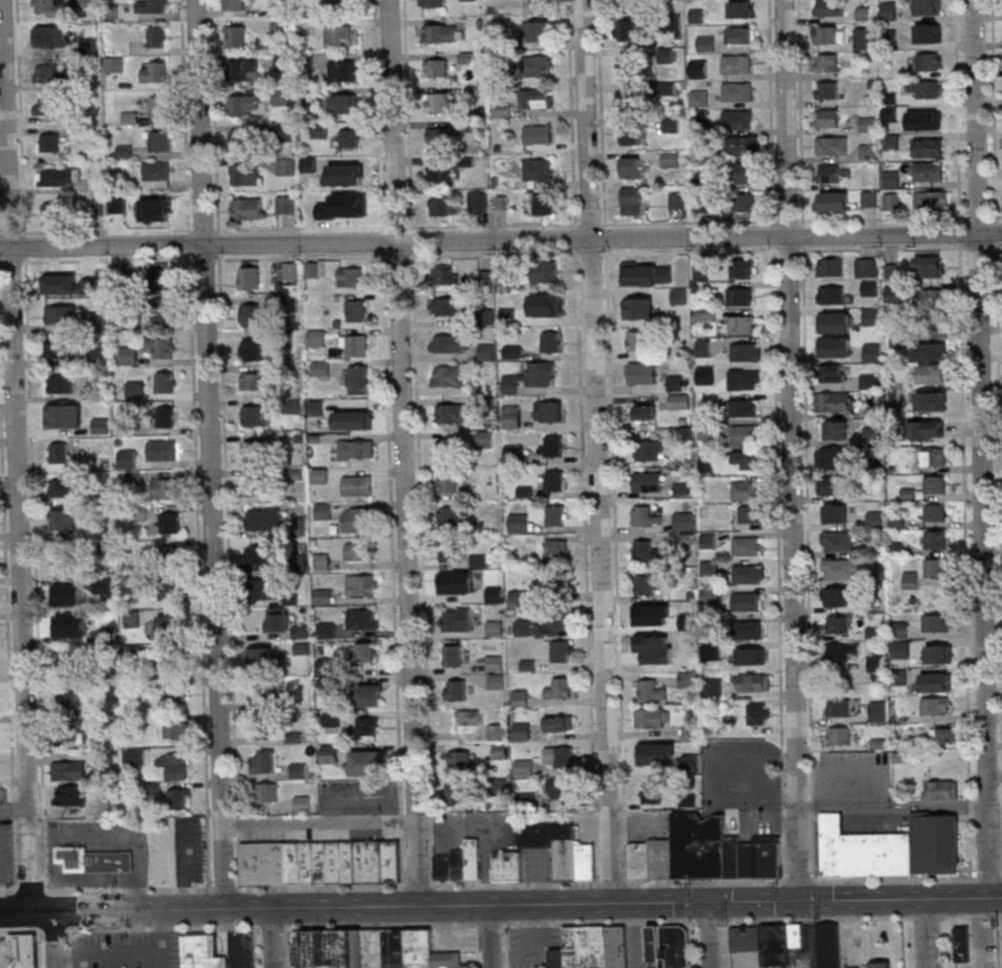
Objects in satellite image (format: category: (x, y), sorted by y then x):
building: (625, 2)
building: (87, 3)
building: (432, 3)
building: (538, 3)
building: (236, 5)
building: (152, 6)
building: (49, 7)
building: (927, 7)
building: (741, 8)
building: (829, 8)
building: (890, 10)
building: (863, 13)
building: (627, 30)
building: (537, 31)
building: (440, 32)
building: (927, 33)
building: (741, 34)
building: (826, 34)
building: (157, 36)
building: (235, 36)
building: (343, 36)
building: (889, 36)
building: (858, 41)
building: (706, 42)
building: (929, 61)
building: (827, 62)
building: (114, 64)
building: (737, 64)
building: (627, 65)
building: (540, 66)
building: (435, 67)
building: (240, 70)
building: (154, 71)
building: (344, 72)
building: (52, 74)
building: (827, 89)
building: (922, 89)
building: (737, 91)
building: (283, 97)
building: (537, 98)
building: (699, 98)
building: (629, 99)
building: (441, 102)
building: (242, 104)
building: (344, 104)
building: (49, 105)
building: (159, 106)
road: (993, 110)
road: (378, 112)
road: (958, 112)
road: (407, 113)
building: (892, 114)
road: (184, 115)
road: (214, 115)
road: (21, 117)
building: (828, 117)
building: (738, 118)
building: (867, 123)
building: (319, 130)
building: (538, 134)
building: (630, 134)
building: (438, 136)
building: (351, 138)
building: (161, 140)
building: (244, 140)
building: (890, 141)
building: (51, 142)
building: (744, 145)
building: (832, 145)
building: (928, 147)
building: (868, 151)
road: (801, 157)
building: (670, 159)
building: (286, 166)
building: (631, 168)
building: (538, 170)
road: (772, 170)
building: (439, 171)
building: (928, 171)
building: (352, 173)
building: (745, 173)
building: (828, 173)
building: (157, 174)
building: (246, 175)
building: (58, 176)
building: (891, 178)
building: (631, 198)
building: (869, 198)
building: (478, 200)
building: (678, 200)
building: (931, 200)
building: (834, 201)
building: (891, 201)
building: (744, 202)
building: (285, 204)
building: (543, 205)
building: (442, 206)
building: (248, 208)
building: (349, 208)
building: (160, 209)
building: (57, 211)
road: (995, 216)
road: (977, 217)
road: (882, 218)
road: (787, 221)
road: (688, 222)
road: (398, 229)
road: (107, 230)
road: (996, 231)
road: (11, 232)
road: (960, 233)
road: (500, 239)
road: (385, 240)
road: (979, 247)
road: (996, 247)
road: (963, 248)
road: (686, 253)
building: (831, 266)
building: (867, 267)
building: (933, 267)
building: (743, 269)
building: (546, 271)
building: (702, 271)
building: (892, 271)
building: (448, 276)
building: (249, 277)
building: (351, 277)
building: (160, 279)
building: (502, 279)
building: (637, 286)
building: (870, 287)
building: (895, 293)
building: (831, 294)
building: (740, 296)
building: (928, 299)
building: (550, 307)
building: (449, 308)
building: (356, 310)
building: (159, 311)
building: (61, 314)
building: (252, 314)
building: (866, 316)
building: (132, 320)
building: (834, 322)
building: (741, 324)
building: (316, 337)
building: (637, 340)
building: (551, 342)
building: (448, 343)
building: (360, 345)
building: (162, 346)
building: (835, 346)
building: (704, 348)
building: (58, 349)
building: (252, 349)
building: (486, 351)
building: (513, 351)
building: (746, 351)
building: (929, 351)
building: (128, 355)
building: (321, 368)
building: (642, 372)
building: (834, 373)
building: (935, 374)
building: (449, 375)
building: (705, 375)
building: (531, 376)
building: (359, 379)
building: (745, 379)
building: (252, 380)
building: (870, 380)
building: (165, 381)
building: (675, 382)
building: (60, 384)
building: (136, 389)
building: (680, 401)
building: (834, 402)
building: (936, 402)
building: (316, 407)
building: (744, 407)
road: (999, 407)
building: (549, 411)
building: (452, 413)
building: (255, 414)
building: (644, 414)
building: (166, 416)
building: (512, 416)
building: (59, 419)
building: (352, 420)
building: (102, 425)
building: (836, 429)
building: (927, 429)
building: (707, 432)
building: (686, 433)
building: (873, 434)
building: (745, 435)
building: (552, 446)
road: (982, 448)
building: (356, 449)
building: (164, 450)
building: (648, 450)
road: (790, 450)
building: (254, 451)
building: (59, 452)
building: (514, 452)
road: (598, 452)
road: (404, 453)
road: (211, 454)
road: (17, 455)
building: (935, 457)
building: (128, 458)
building: (832, 458)
building: (748, 460)
building: (320, 475)
building: (557, 480)
building: (648, 482)
building: (447, 483)
building: (255, 485)
building: (357, 485)
building: (832, 485)
building: (935, 486)
building: (62, 487)
building: (165, 488)
building: (746, 489)
building: (324, 512)
building: (935, 513)
building: (751, 514)
building: (836, 514)
building: (557, 515)
building: (646, 517)
building: (450, 518)
building: (65, 519)
building: (263, 519)
building: (358, 519)
building: (875, 519)
building: (684, 520)
building: (519, 523)
building: (170, 524)
building: (936, 540)
building: (838, 542)
building: (747, 546)
building: (557, 550)
building: (360, 551)
building: (648, 551)
building: (451, 552)
building: (65, 556)
building: (169, 556)
building: (262, 557)
building: (322, 560)
building: (480, 560)
road: (965, 560)
road: (393, 569)
building: (937, 569)
building: (840, 571)
building: (749, 573)
building: (911, 580)
building: (363, 584)
building: (644, 584)
building: (451, 586)
building: (134, 588)
building: (261, 589)
building: (170, 590)
building: (66, 591)
building: (326, 596)
building: (838, 598)
building: (748, 601)
building: (278, 618)
building: (561, 618)
building: (133, 619)
building: (363, 619)
building: (457, 619)
building: (647, 620)
building: (937, 622)
building: (839, 624)
building: (168, 625)
building: (523, 627)
building: (63, 628)
building: (495, 628)
building: (749, 628)
building: (900, 629)
building: (326, 630)
building: (651, 648)
building: (902, 649)
building: (561, 651)
building: (367, 652)
building: (842, 652)
building: (938, 653)
building: (262, 655)
building: (453, 656)
building: (751, 656)
building: (165, 659)
building: (877, 663)
building: (496, 671)
building: (688, 679)
building: (756, 682)
building: (936, 682)
building: (561, 688)
building: (457, 690)
building: (651, 690)
building: (177, 691)
building: (264, 693)
building: (371, 695)
building: (69, 696)
building: (936, 705)
building: (840, 707)
building: (878, 711)
building: (759, 713)
building: (469, 717)
building: (332, 718)
building: (653, 718)
building: (559, 722)
building: (368, 726)
building: (265, 728)
building: (177, 729)
building: (522, 730)
building: (69, 732)
building: (944, 734)
building: (839, 735)
building: (295, 737)
building: (133, 754)
building: (330, 754)
building: (560, 756)
building: (463, 760)
building: (651, 760)
building: (265, 761)
building: (367, 762)
building: (180, 766)
building: (524, 767)
building: (69, 770)
building: (299, 770)
road: (833, 773)
road: (995, 773)
road: (753, 775)
road: (710, 779)
building: (503, 785)
building: (561, 788)
building: (941, 790)
building: (268, 792)
building: (458, 793)
building: (652, 793)
building: (71, 796)
building: (180, 798)
road: (362, 799)
building: (688, 800)
road: (769, 800)
building: (302, 803)
road: (892, 806)
road: (14, 812)
road: (515, 821)
road: (321, 824)
road: (120, 835)
building: (931, 845)
building: (830, 846)
building: (702, 847)
building: (555, 848)
parking lot: (189, 849)
building: (734, 856)
building: (874, 857)
building: (474, 859)
building: (75, 860)
building: (665, 860)
building: (761, 860)
building: (644, 861)
building: (112, 863)
building: (589, 863)
building: (267, 864)
building: (296, 864)
building: (310, 864)
building: (324, 864)
building: (337, 864)
building: (351, 864)
building: (372, 864)
building: (392, 864)
building: (461, 865)
building: (509, 865)
road: (182, 866)
building: (446, 867)
road: (989, 877)
road: (487, 884)
traffic signals: (799, 901)
traffic signals: (709, 902)
road: (582, 904)
road: (81, 910)
road: (501, 923)
road: (927, 933)
road: (710, 934)
road: (491, 936)
road: (235, 937)
road: (273, 937)
building: (798, 937)
road: (163, 938)
road: (56, 939)
road: (70, 940)
building: (749, 940)
road: (903, 942)
road: (953, 942)
building: (965, 942)
building: (655, 944)
road: (694, 944)
road: (730, 944)
building: (829, 944)
road: (477, 945)
road: (506, 945)
building: (779, 946)
road: (255, 947)
road: (293, 947)
building: (587, 947)
building: (618, 947)
building: (676, 947)
road: (41, 949)
parking lot: (236, 949)
building: (332, 949)
building: (386, 949)
building: (420, 949)
building: (26, 951)
building: (203, 952)
road: (109, 954)
road: (71, 959)
building: (558, 959)
building: (449, 961)
building: (881, 965)

